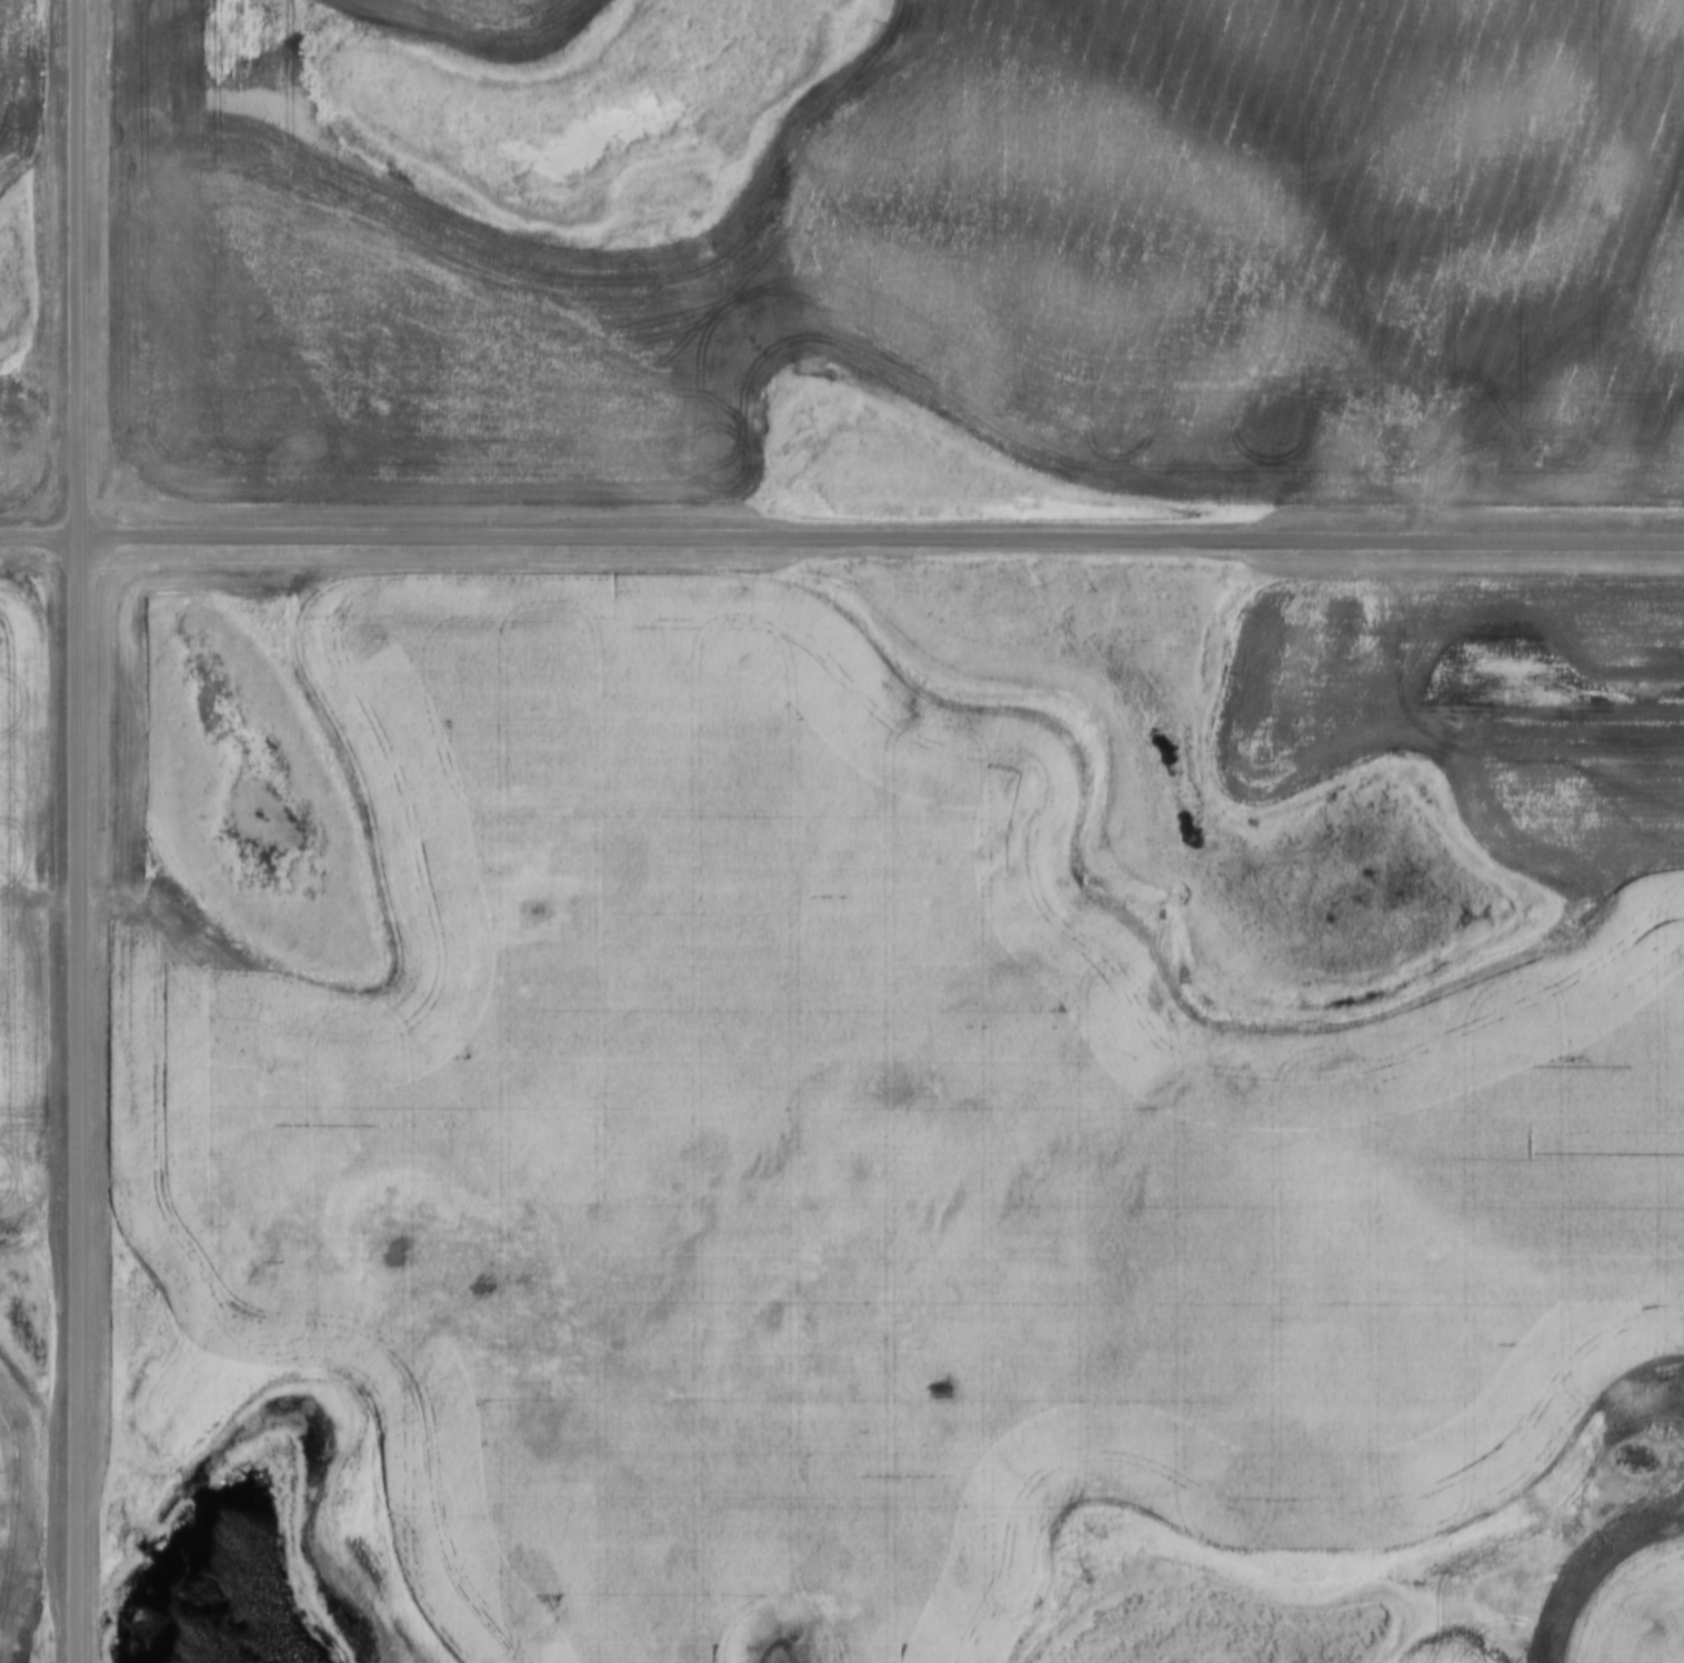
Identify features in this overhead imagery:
road: (842, 537)
road: (77, 831)

